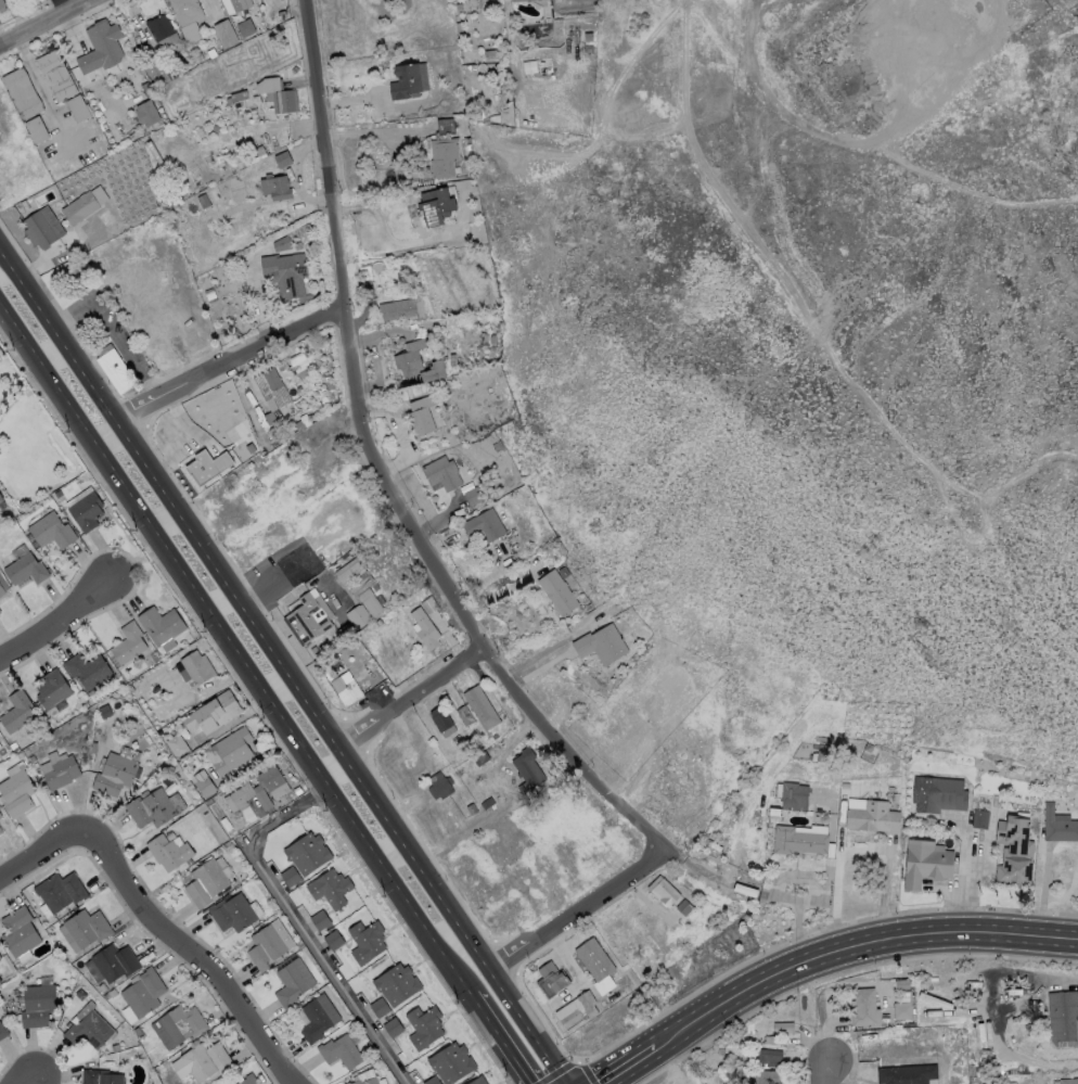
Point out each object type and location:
building: (516, 0)
building: (240, 4)
building: (1, 5)
road: (59, 5)
building: (458, 8)
building: (187, 17)
road: (41, 21)
building: (159, 26)
building: (245, 27)
building: (223, 33)
building: (587, 36)
building: (99, 48)
building: (587, 48)
building: (492, 54)
building: (528, 66)
building: (154, 68)
building: (55, 75)
building: (408, 80)
building: (145, 89)
building: (22, 92)
building: (235, 97)
building: (286, 101)
building: (76, 107)
building: (145, 113)
building: (444, 126)
road: (844, 128)
building: (36, 129)
road: (370, 131)
road: (865, 149)
building: (258, 150)
building: (442, 156)
building: (282, 158)
building: (274, 187)
building: (203, 201)
building: (84, 204)
building: (24, 205)
building: (435, 205)
building: (41, 227)
building: (305, 227)
road: (381, 231)
building: (280, 243)
building: (364, 272)
building: (284, 273)
building: (209, 294)
building: (397, 309)
road: (228, 358)
building: (415, 364)
building: (298, 365)
building: (114, 368)
building: (271, 386)
building: (421, 415)
building: (206, 467)
road: (376, 471)
building: (440, 474)
building: (56, 493)
building: (472, 495)
building: (1, 505)
building: (86, 511)
building: (483, 524)
building: (51, 531)
building: (25, 570)
building: (563, 572)
building: (1, 590)
building: (556, 591)
building: (371, 604)
building: (428, 604)
building: (309, 616)
building: (357, 616)
road: (63, 622)
building: (161, 626)
building: (425, 628)
building: (128, 642)
building: (600, 643)
road: (282, 665)
building: (195, 667)
building: (87, 668)
building: (346, 688)
road: (264, 689)
building: (53, 690)
road: (408, 696)
building: (480, 707)
building: (213, 712)
building: (21, 714)
building: (463, 715)
building: (439, 718)
building: (177, 726)
building: (493, 736)
building: (176, 745)
building: (229, 750)
building: (30, 757)
building: (479, 757)
building: (526, 769)
building: (116, 771)
building: (61, 773)
building: (272, 781)
building: (202, 782)
building: (438, 785)
building: (16, 793)
building: (938, 793)
building: (246, 796)
building: (793, 796)
building: (894, 796)
building: (207, 801)
building: (486, 802)
building: (153, 807)
building: (471, 808)
building: (0, 816)
building: (872, 817)
building: (978, 818)
building: (1057, 825)
building: (0, 831)
building: (797, 840)
road: (858, 849)
building: (168, 851)
building: (1013, 851)
road: (43, 852)
building: (307, 853)
building: (924, 863)
building: (288, 876)
building: (205, 882)
road: (961, 883)
building: (329, 888)
building: (744, 890)
building: (59, 891)
building: (663, 891)
road: (814, 892)
building: (683, 907)
road: (576, 910)
building: (232, 913)
building: (319, 918)
road: (296, 923)
building: (84, 928)
building: (18, 931)
building: (332, 940)
building: (365, 941)
building: (267, 944)
road: (855, 949)
road: (192, 952)
building: (0, 957)
building: (594, 958)
building: (111, 962)
building: (550, 979)
road: (1055, 981)
building: (292, 982)
building: (396, 984)
building: (900, 984)
building: (112, 992)
building: (143, 992)
building: (592, 1002)
building: (37, 1005)
building: (378, 1007)
building: (862, 1007)
building: (901, 1010)
building: (317, 1017)
building: (1062, 1017)
building: (177, 1025)
building: (392, 1026)
building: (424, 1026)
building: (782, 1026)
building: (88, 1031)
building: (137, 1031)
building: (2, 1032)
building: (773, 1040)
building: (114, 1047)
building: (719, 1050)
building: (339, 1051)
road: (1009, 1053)
building: (767, 1056)
building: (202, 1061)
building: (450, 1062)
road: (628, 1066)
road: (827, 1072)
building: (907, 1074)
building: (101, 1077)
building: (768, 1077)
road: (34, 1079)
building: (251, 1080)
building: (433, 1081)
building: (479, 1081)
building: (368, 1082)
building: (1069, 1082)
building: (349, 1083)

